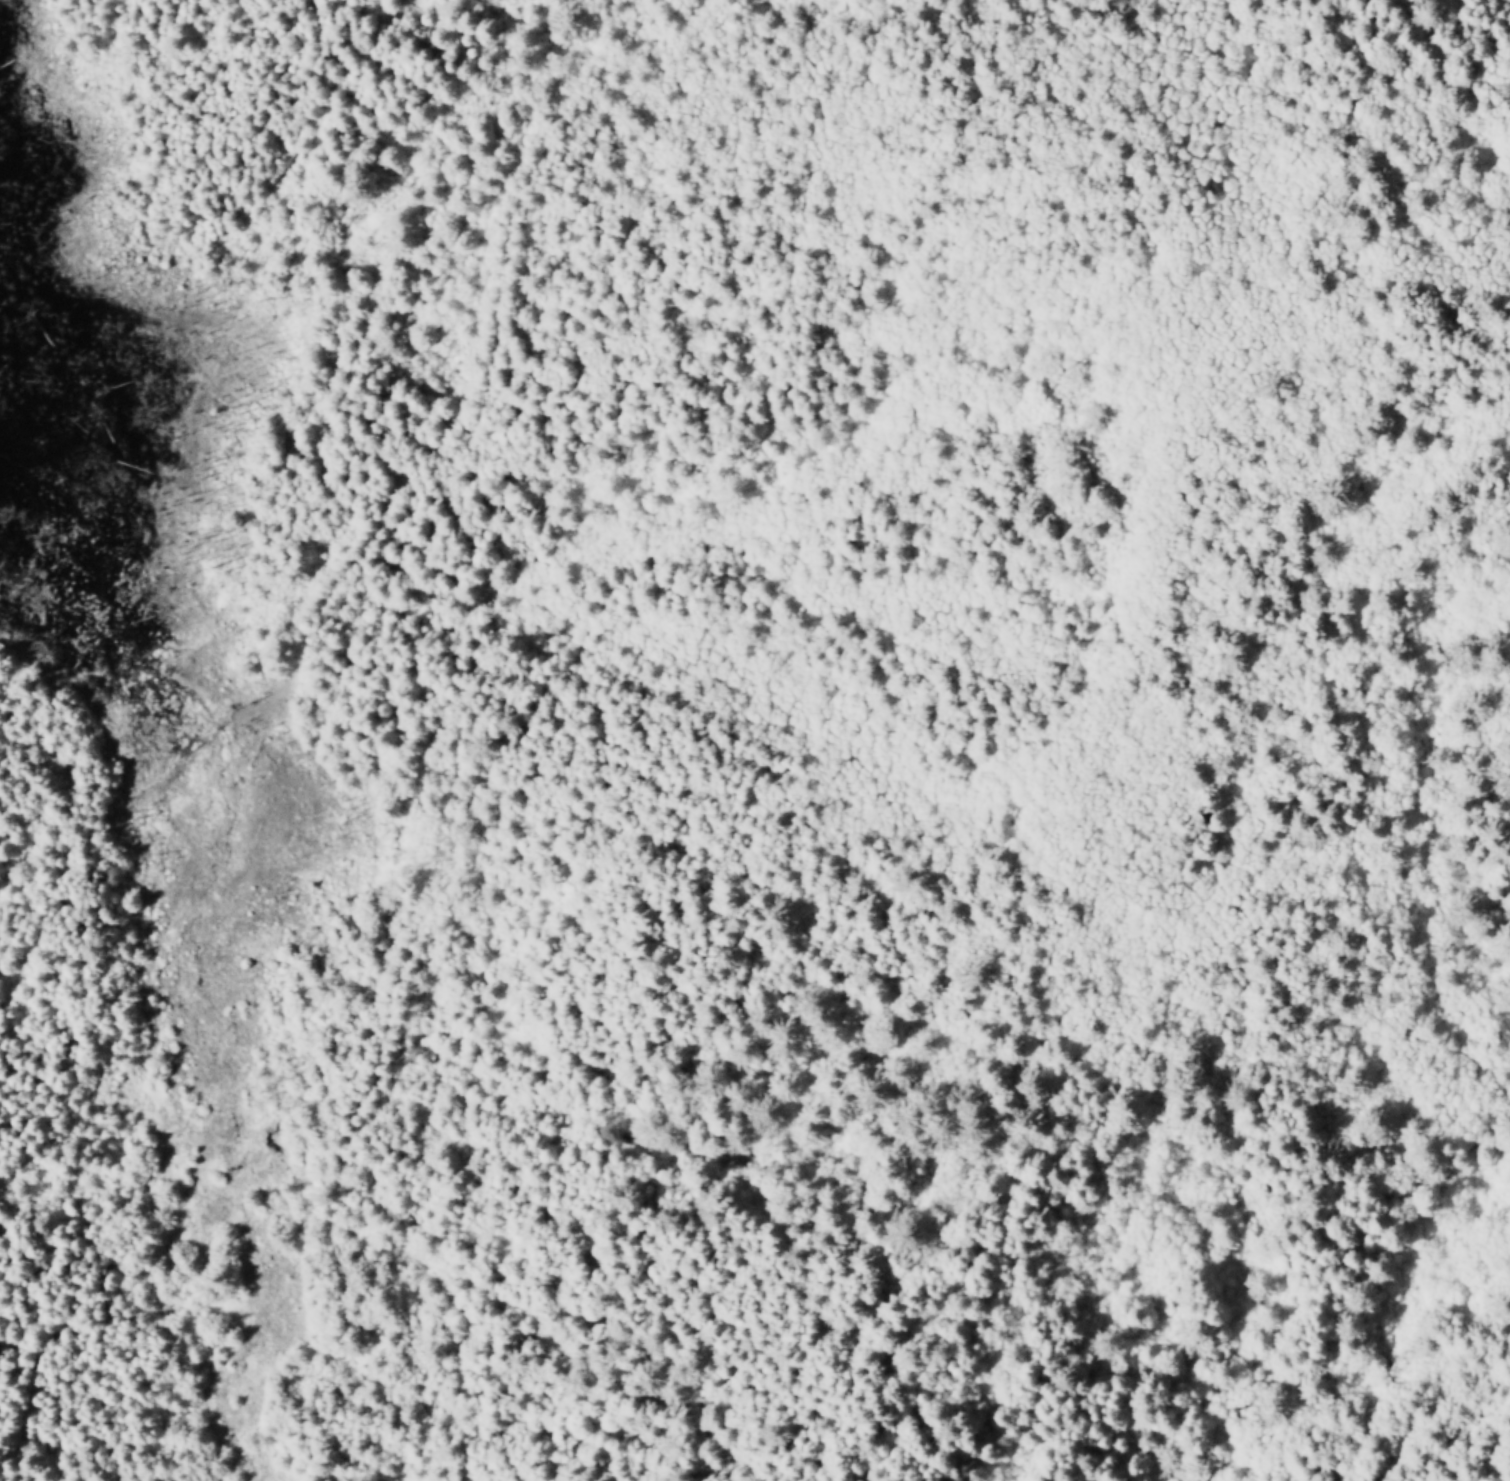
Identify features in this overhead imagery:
road: (918, 975)
road: (6, 1468)

